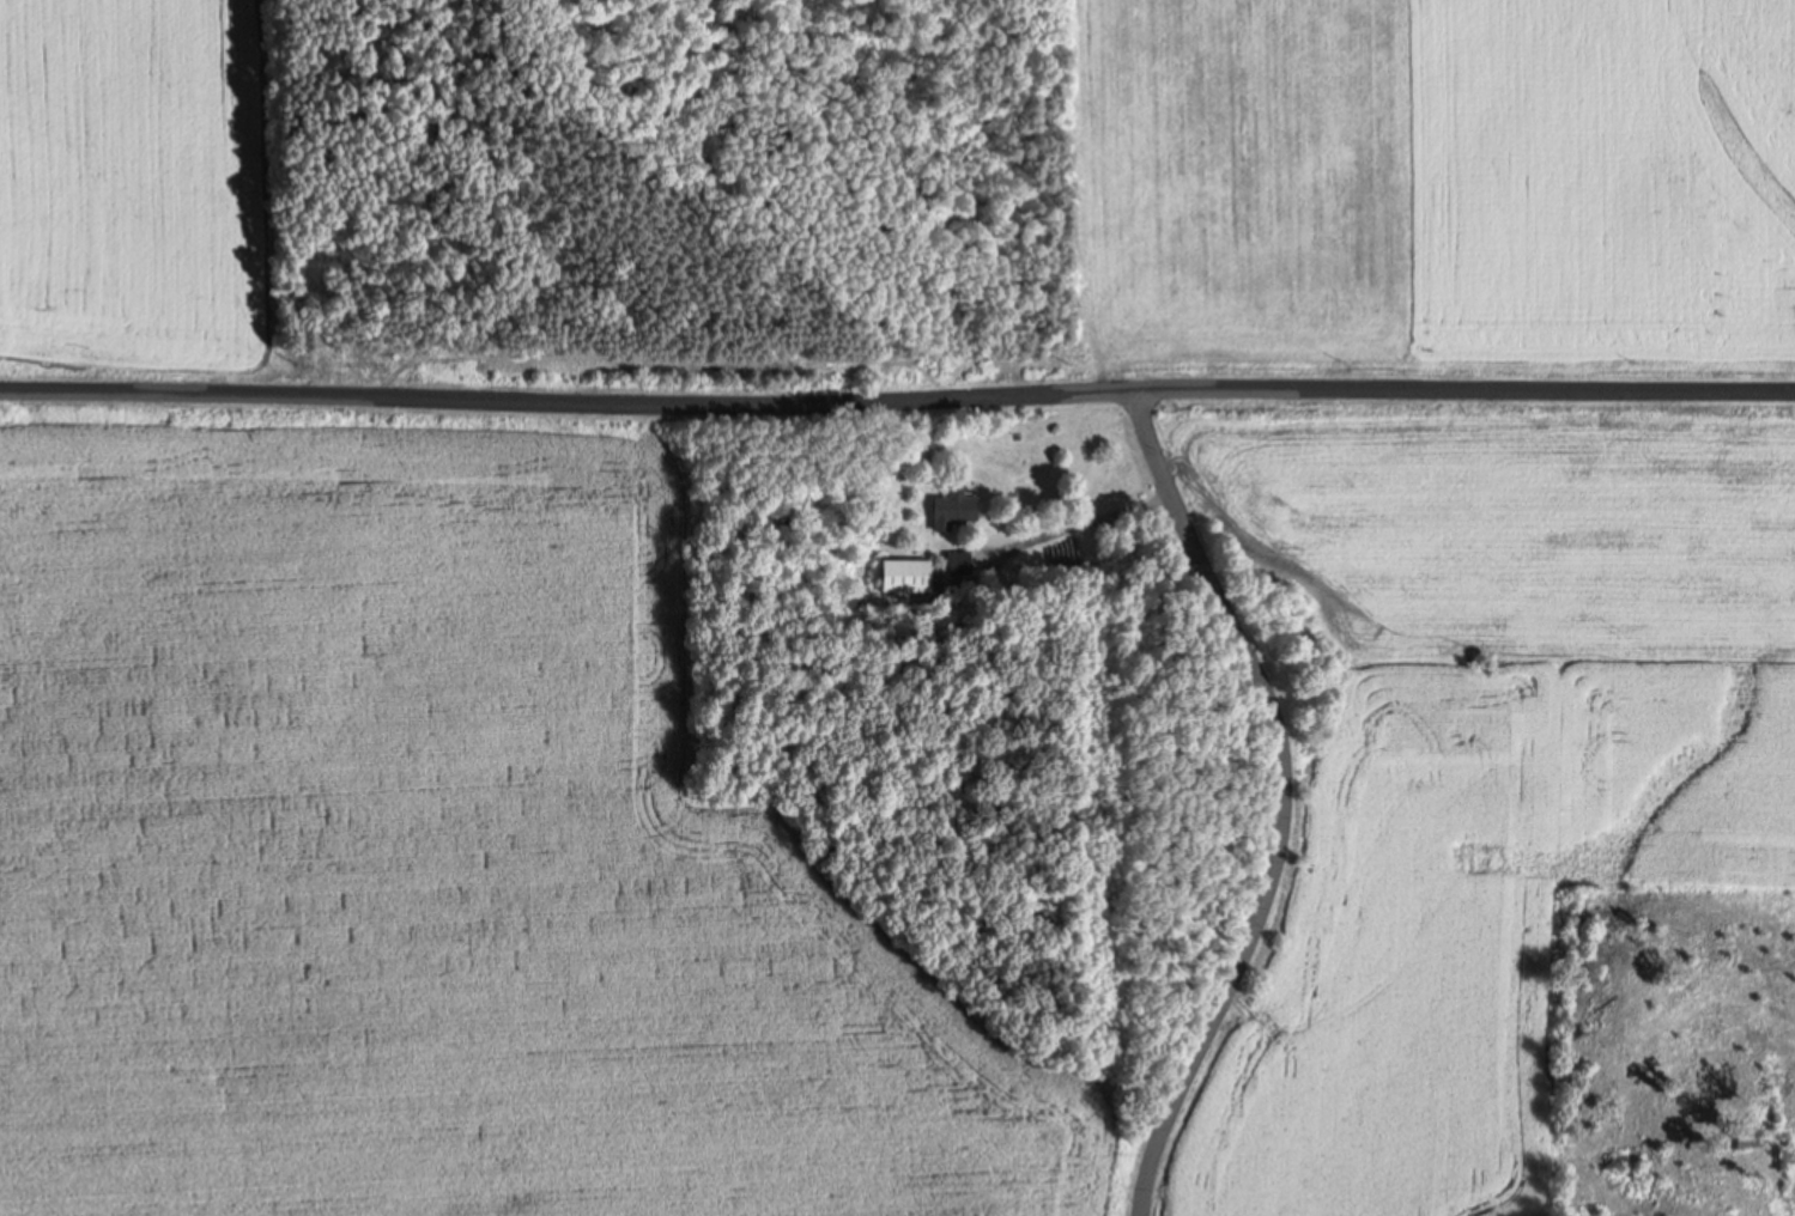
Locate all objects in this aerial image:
road: (897, 394)
building: (952, 512)
road: (1079, 518)
building: (906, 576)
road: (1280, 798)

